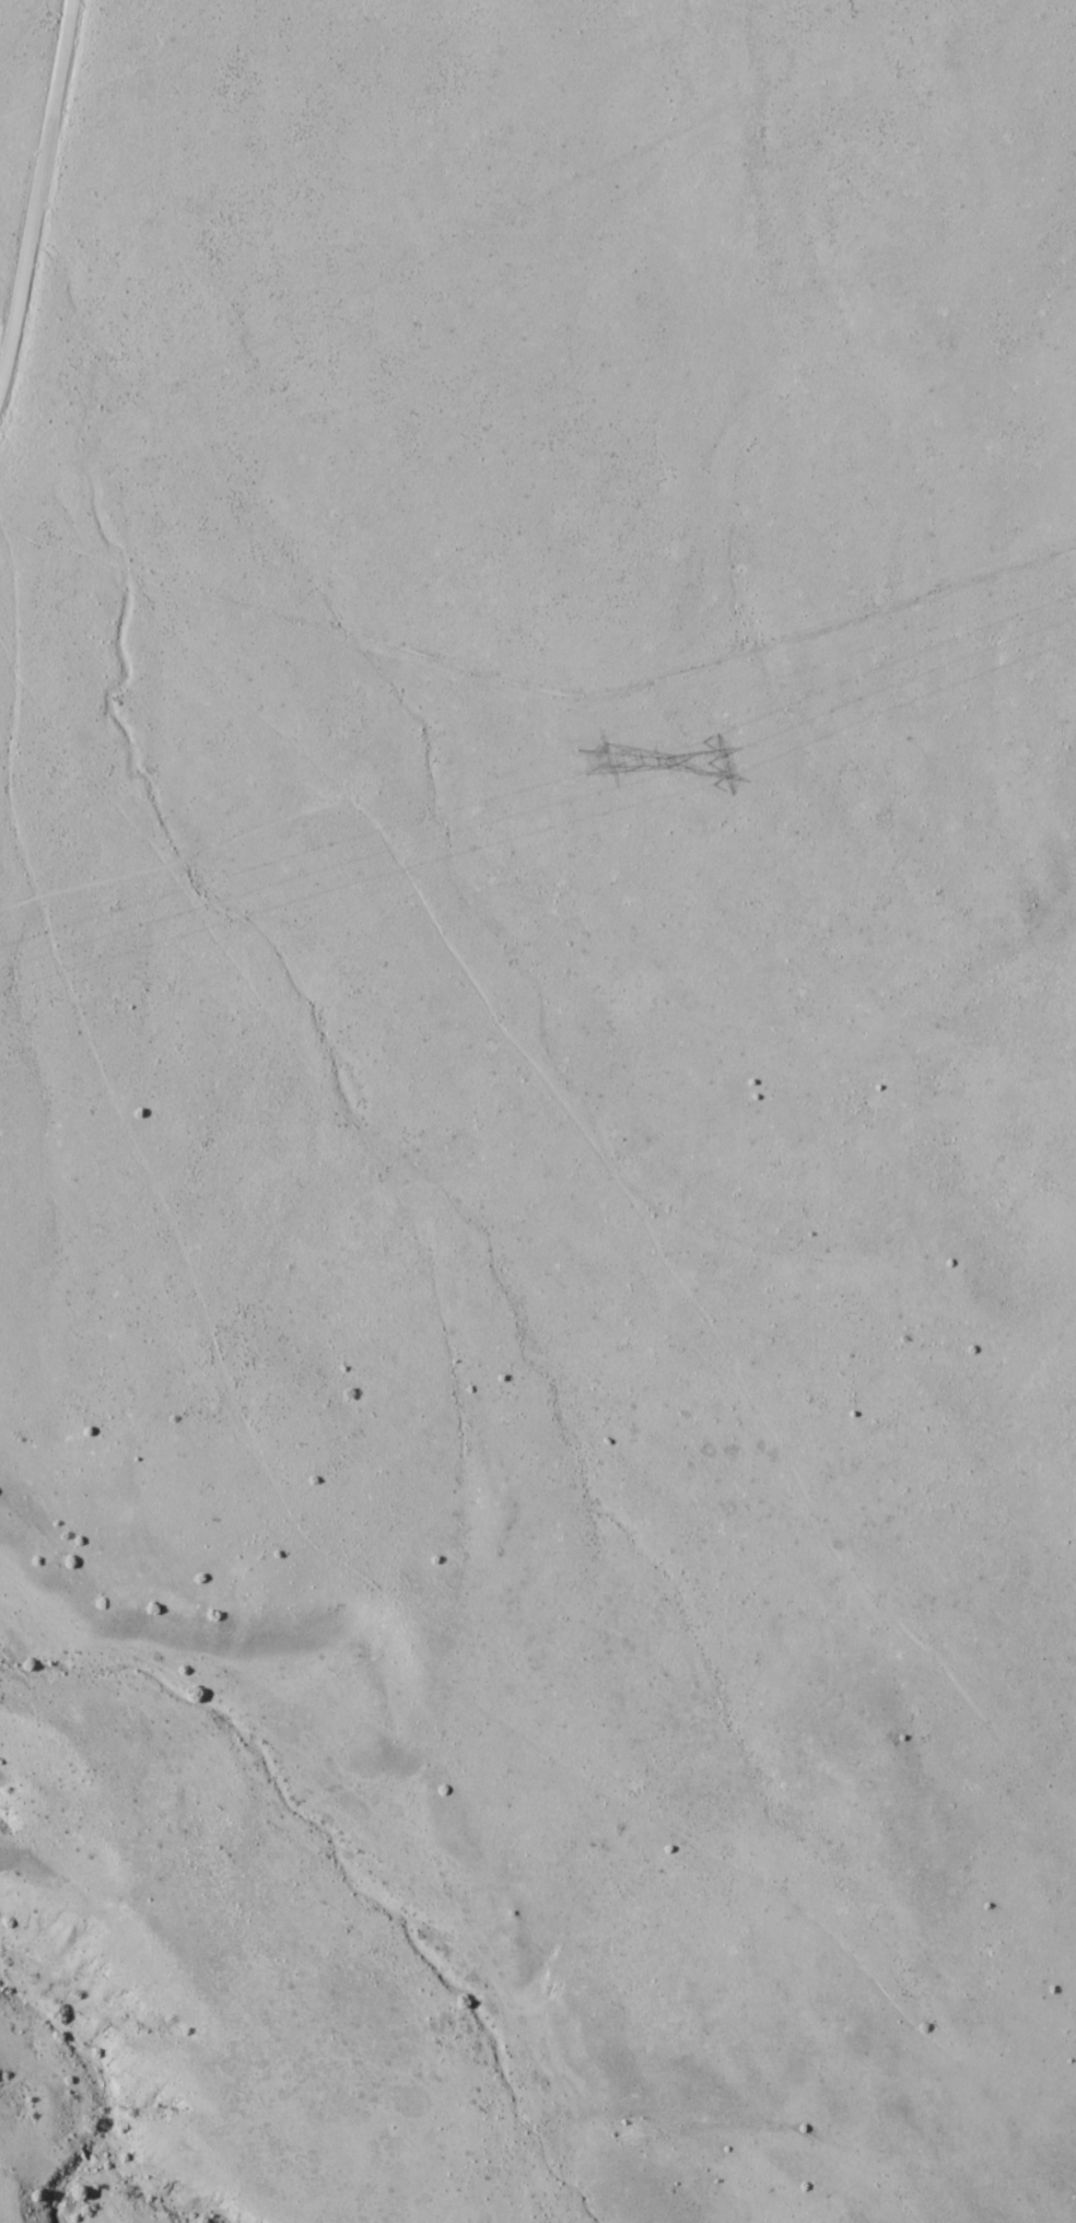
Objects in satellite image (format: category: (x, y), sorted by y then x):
road: (60, 72)
road: (26, 269)
road: (153, 354)
road: (534, 676)
power tower: (582, 757)

